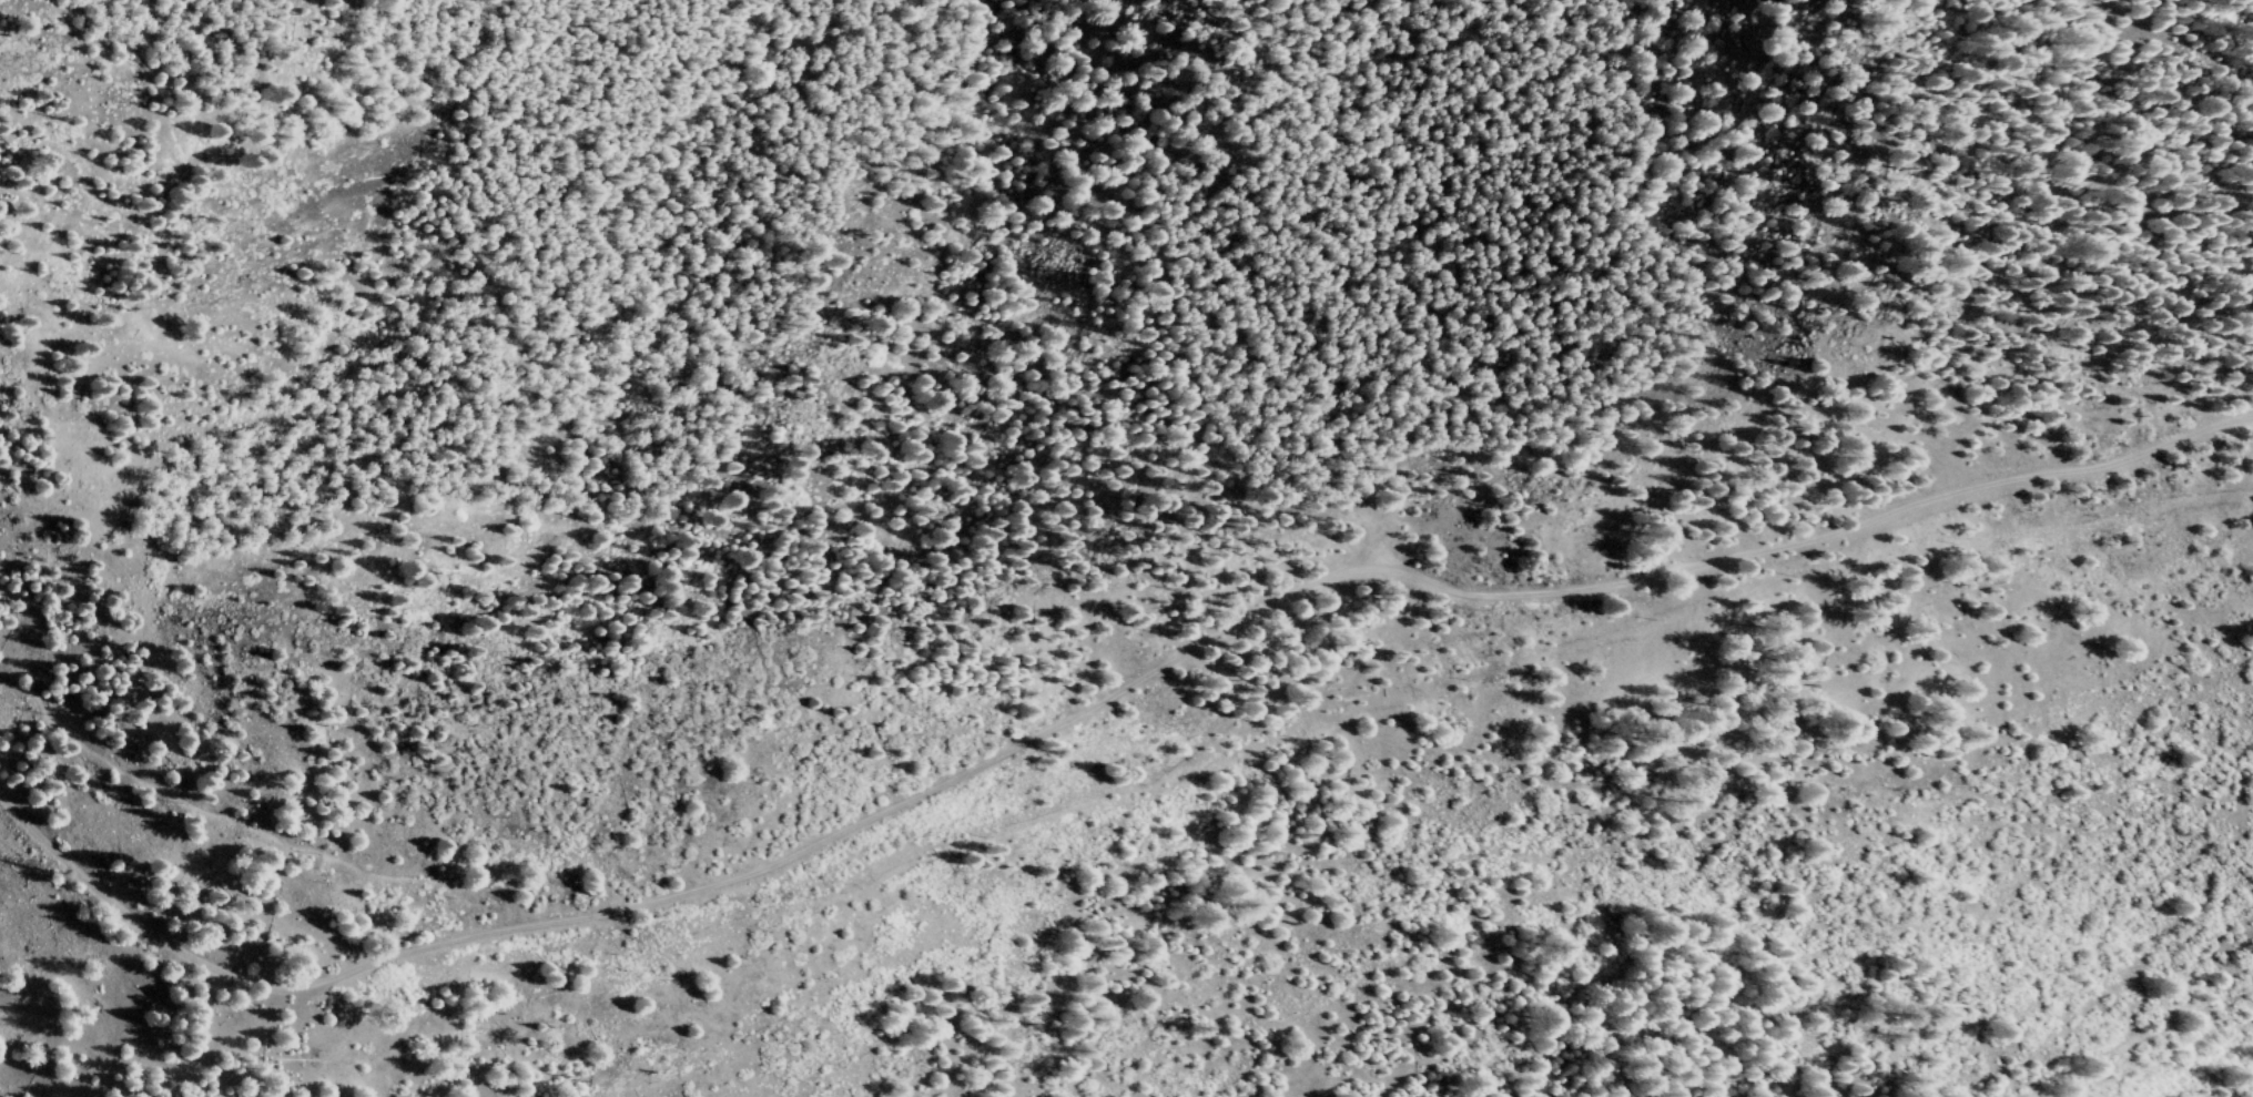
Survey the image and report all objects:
road: (1096, 717)

